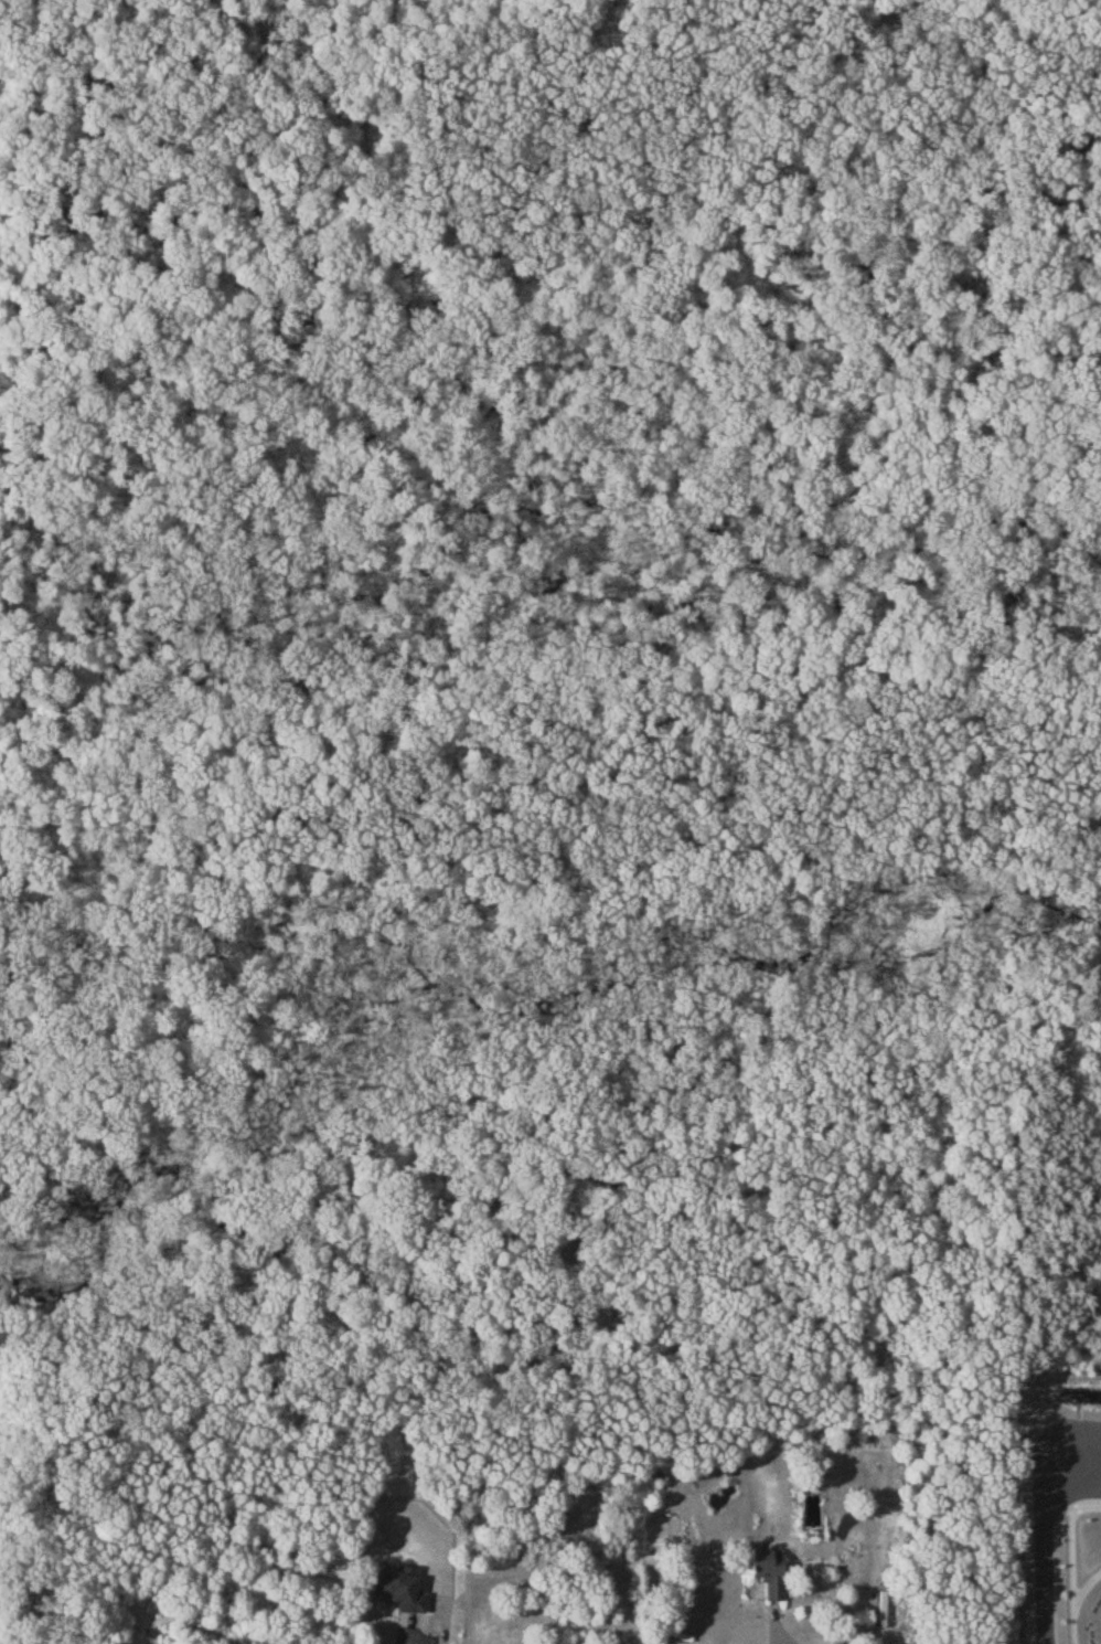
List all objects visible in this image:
road: (1092, 1432)
road: (1069, 1546)
building: (768, 1570)
building: (397, 1590)
road: (1075, 1602)

